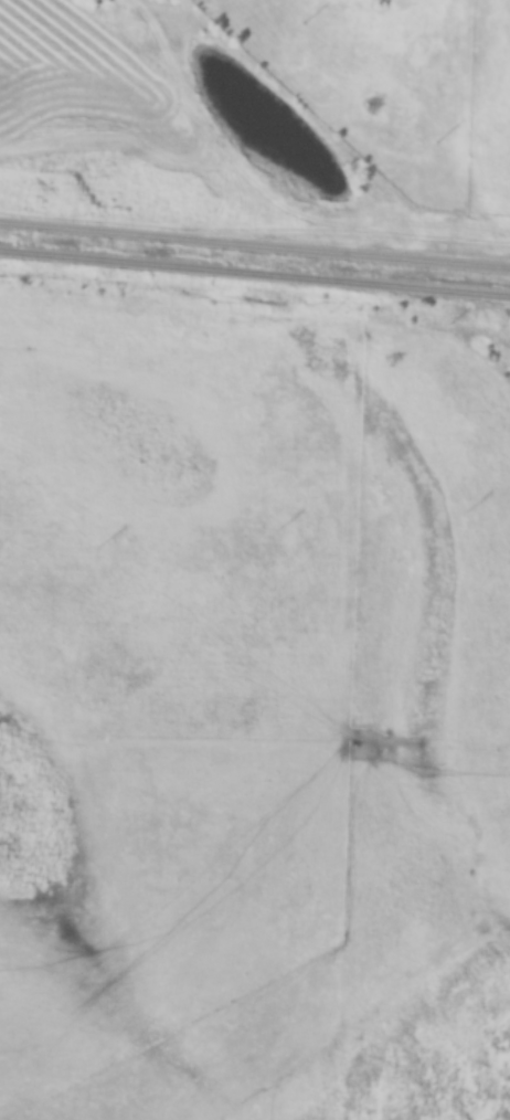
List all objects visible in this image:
railway: (254, 246)
railway: (255, 274)

